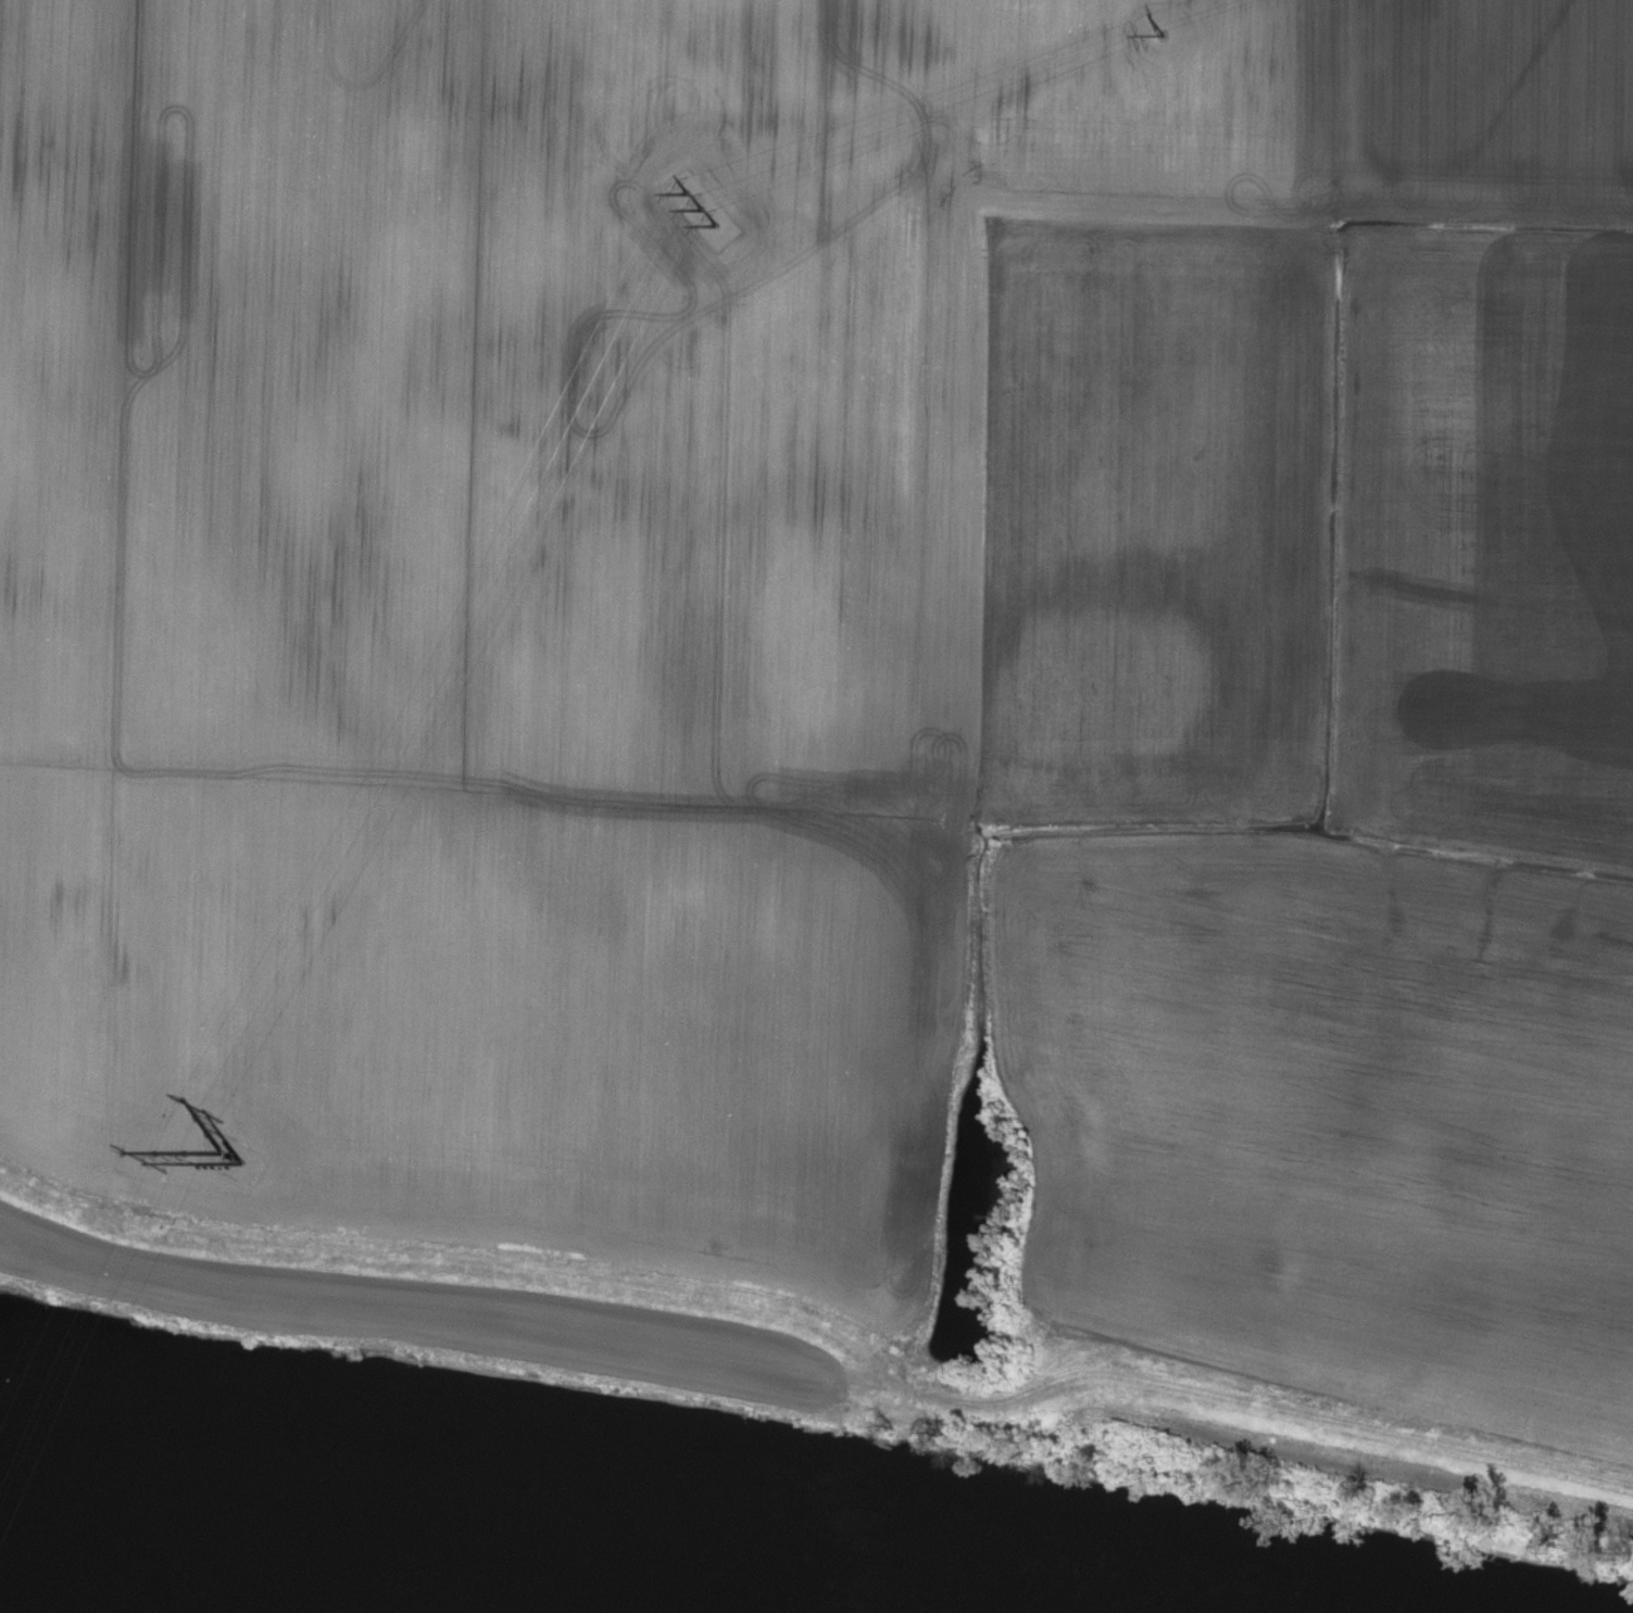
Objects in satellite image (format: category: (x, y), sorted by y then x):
power tower: (1172, 45)
power tower: (705, 228)
power tower: (235, 1157)

